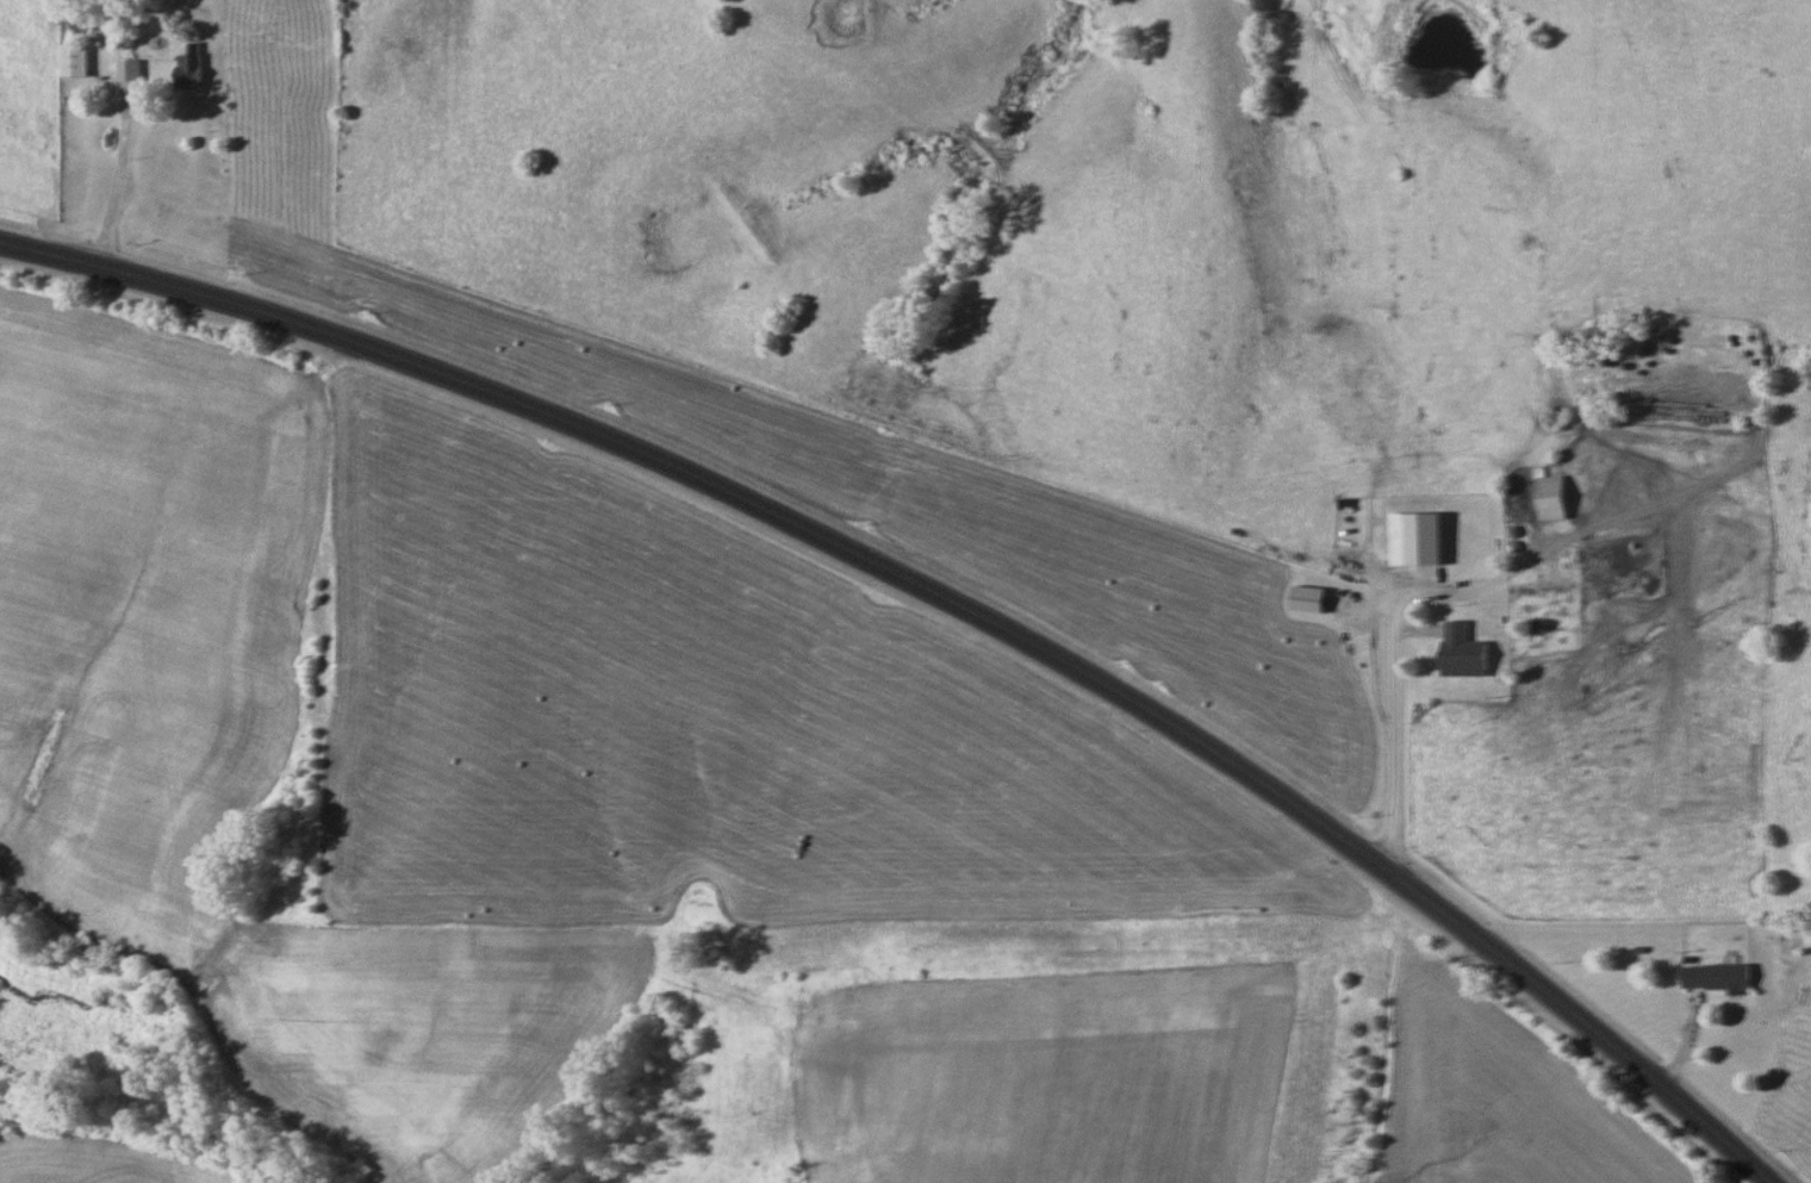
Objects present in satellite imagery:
building: (77, 24)
building: (74, 60)
building: (187, 68)
road: (123, 155)
building: (1527, 244)
building: (1548, 498)
building: (1430, 565)
building: (1390, 571)
building: (1614, 594)
road: (947, 596)
building: (1306, 599)
building: (1460, 650)
road: (1398, 727)
building: (1713, 976)

